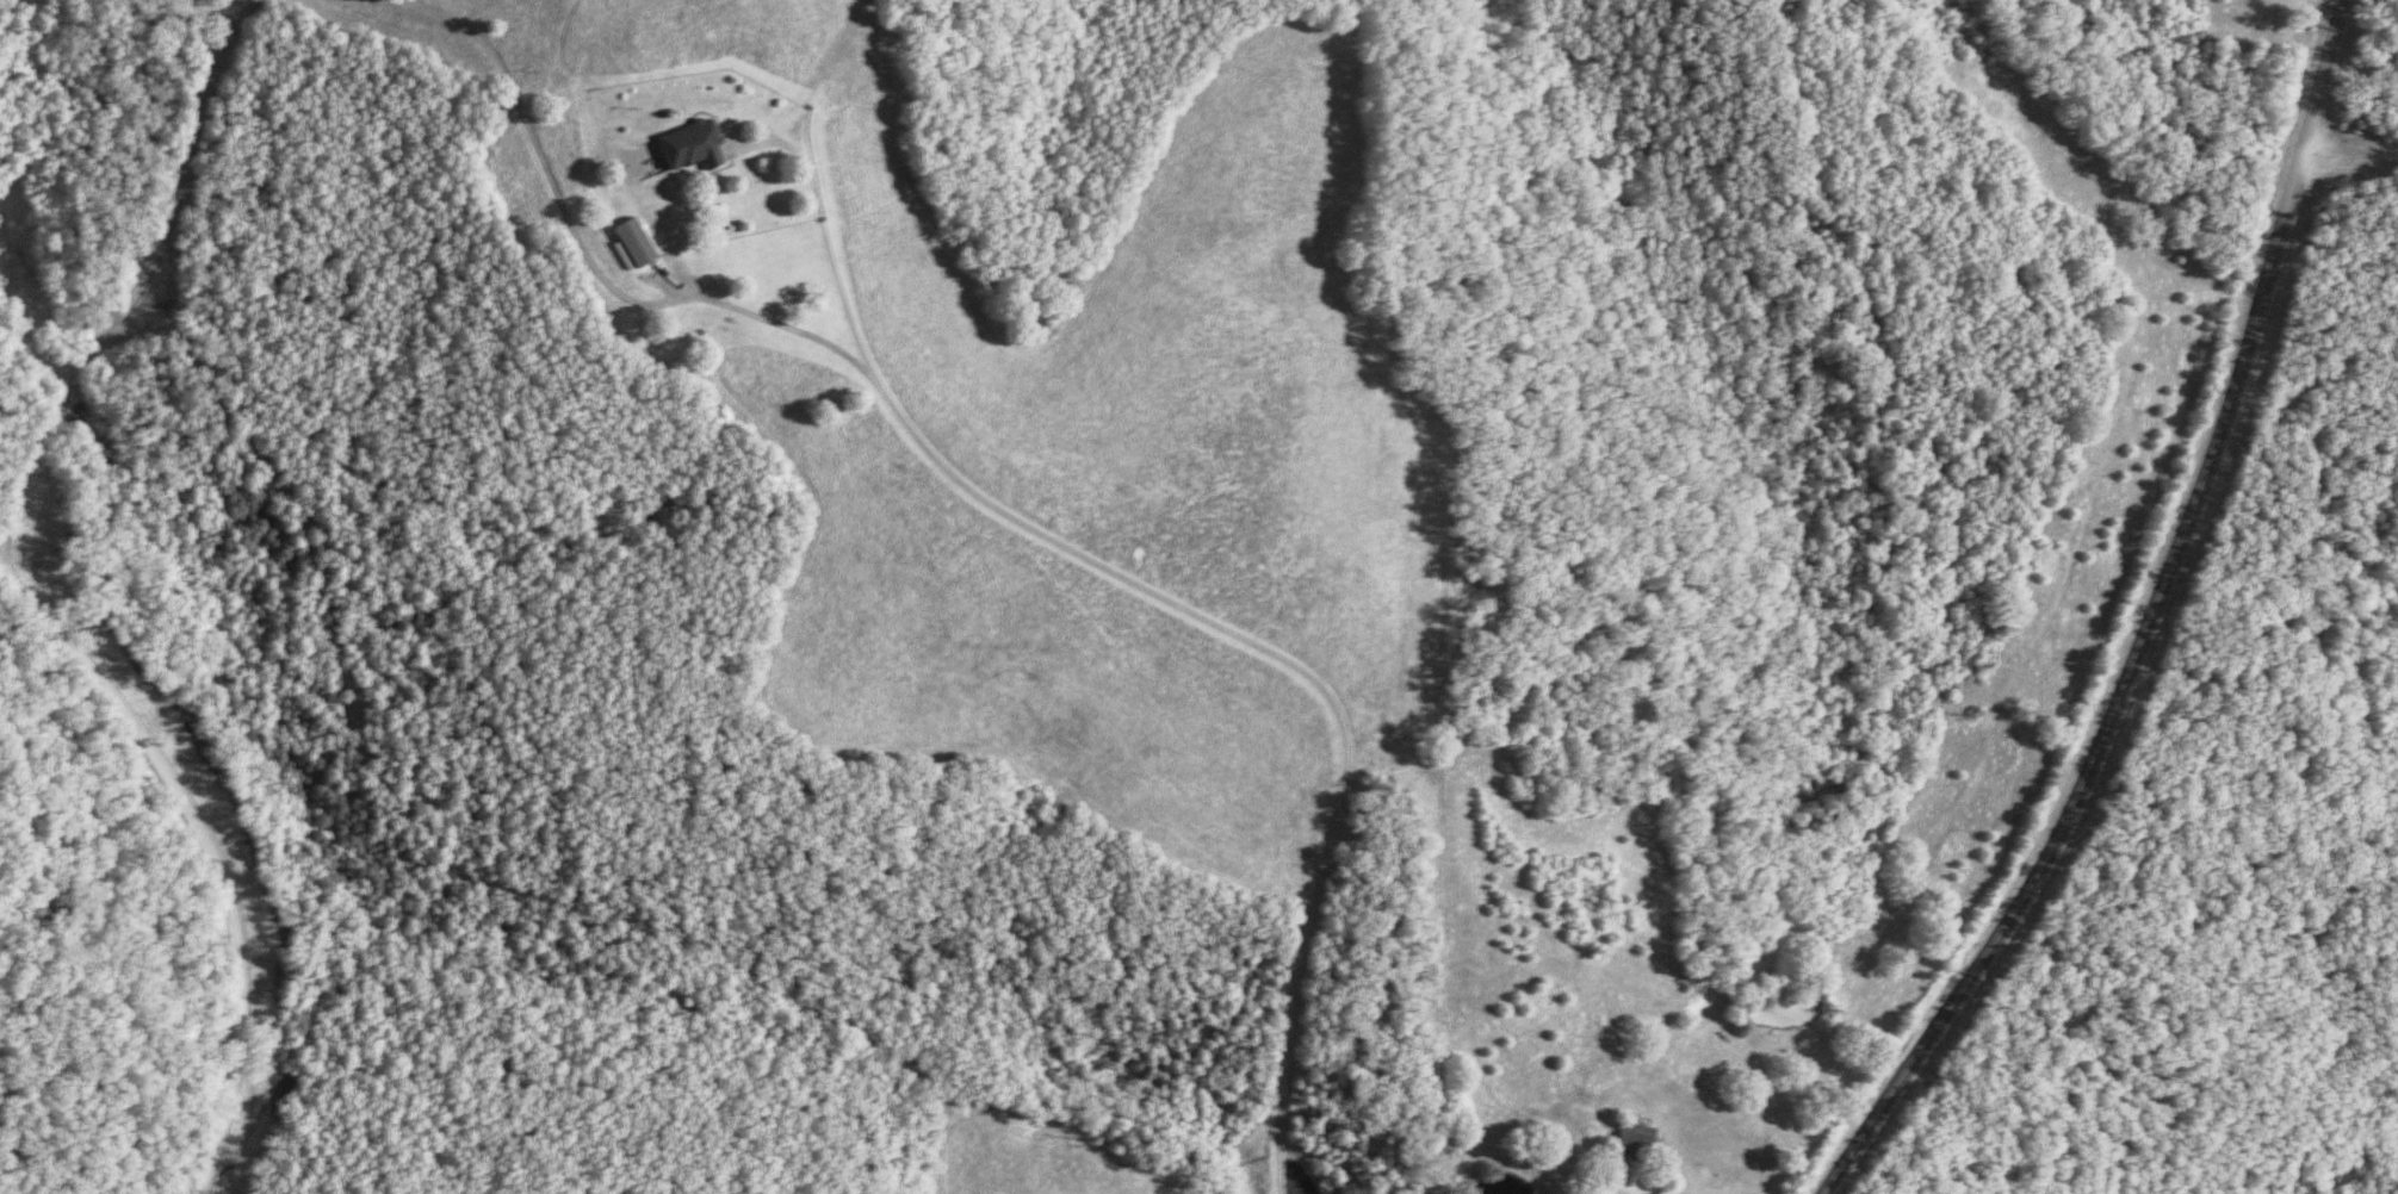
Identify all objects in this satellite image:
building: (696, 147)
road: (138, 290)
road: (1012, 518)
road: (2160, 630)
road: (211, 852)

